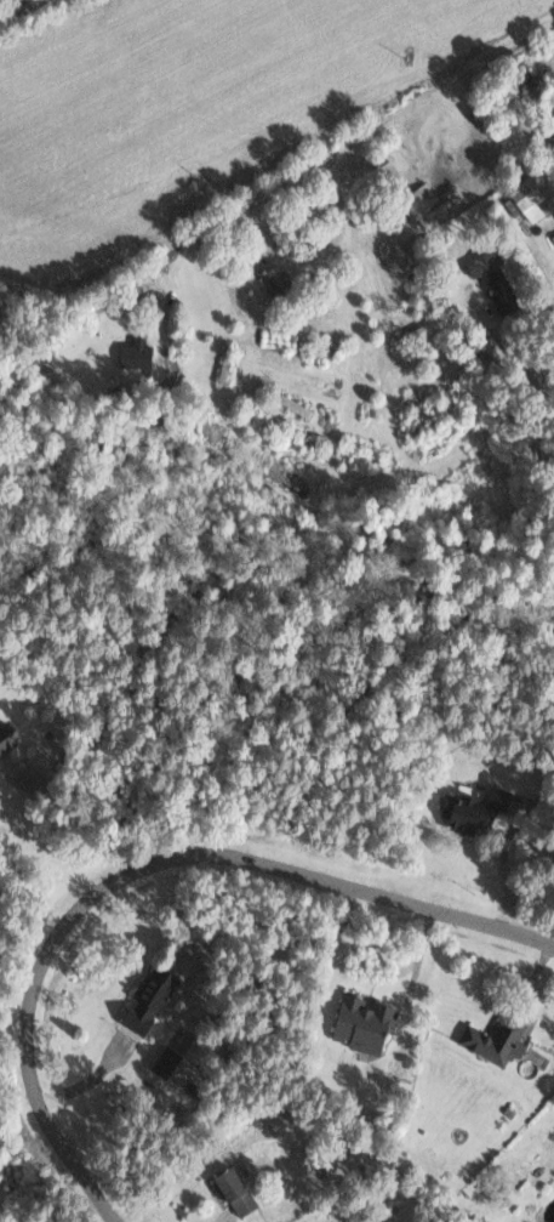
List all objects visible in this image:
road: (17, 8)
road: (279, 184)
building: (533, 194)
building: (428, 206)
building: (276, 279)
building: (493, 279)
building: (486, 348)
building: (135, 352)
building: (7, 738)
road: (81, 815)
road: (143, 868)
building: (147, 999)
building: (362, 1022)
building: (495, 1040)
building: (282, 1116)
building: (233, 1190)
building: (479, 1220)

